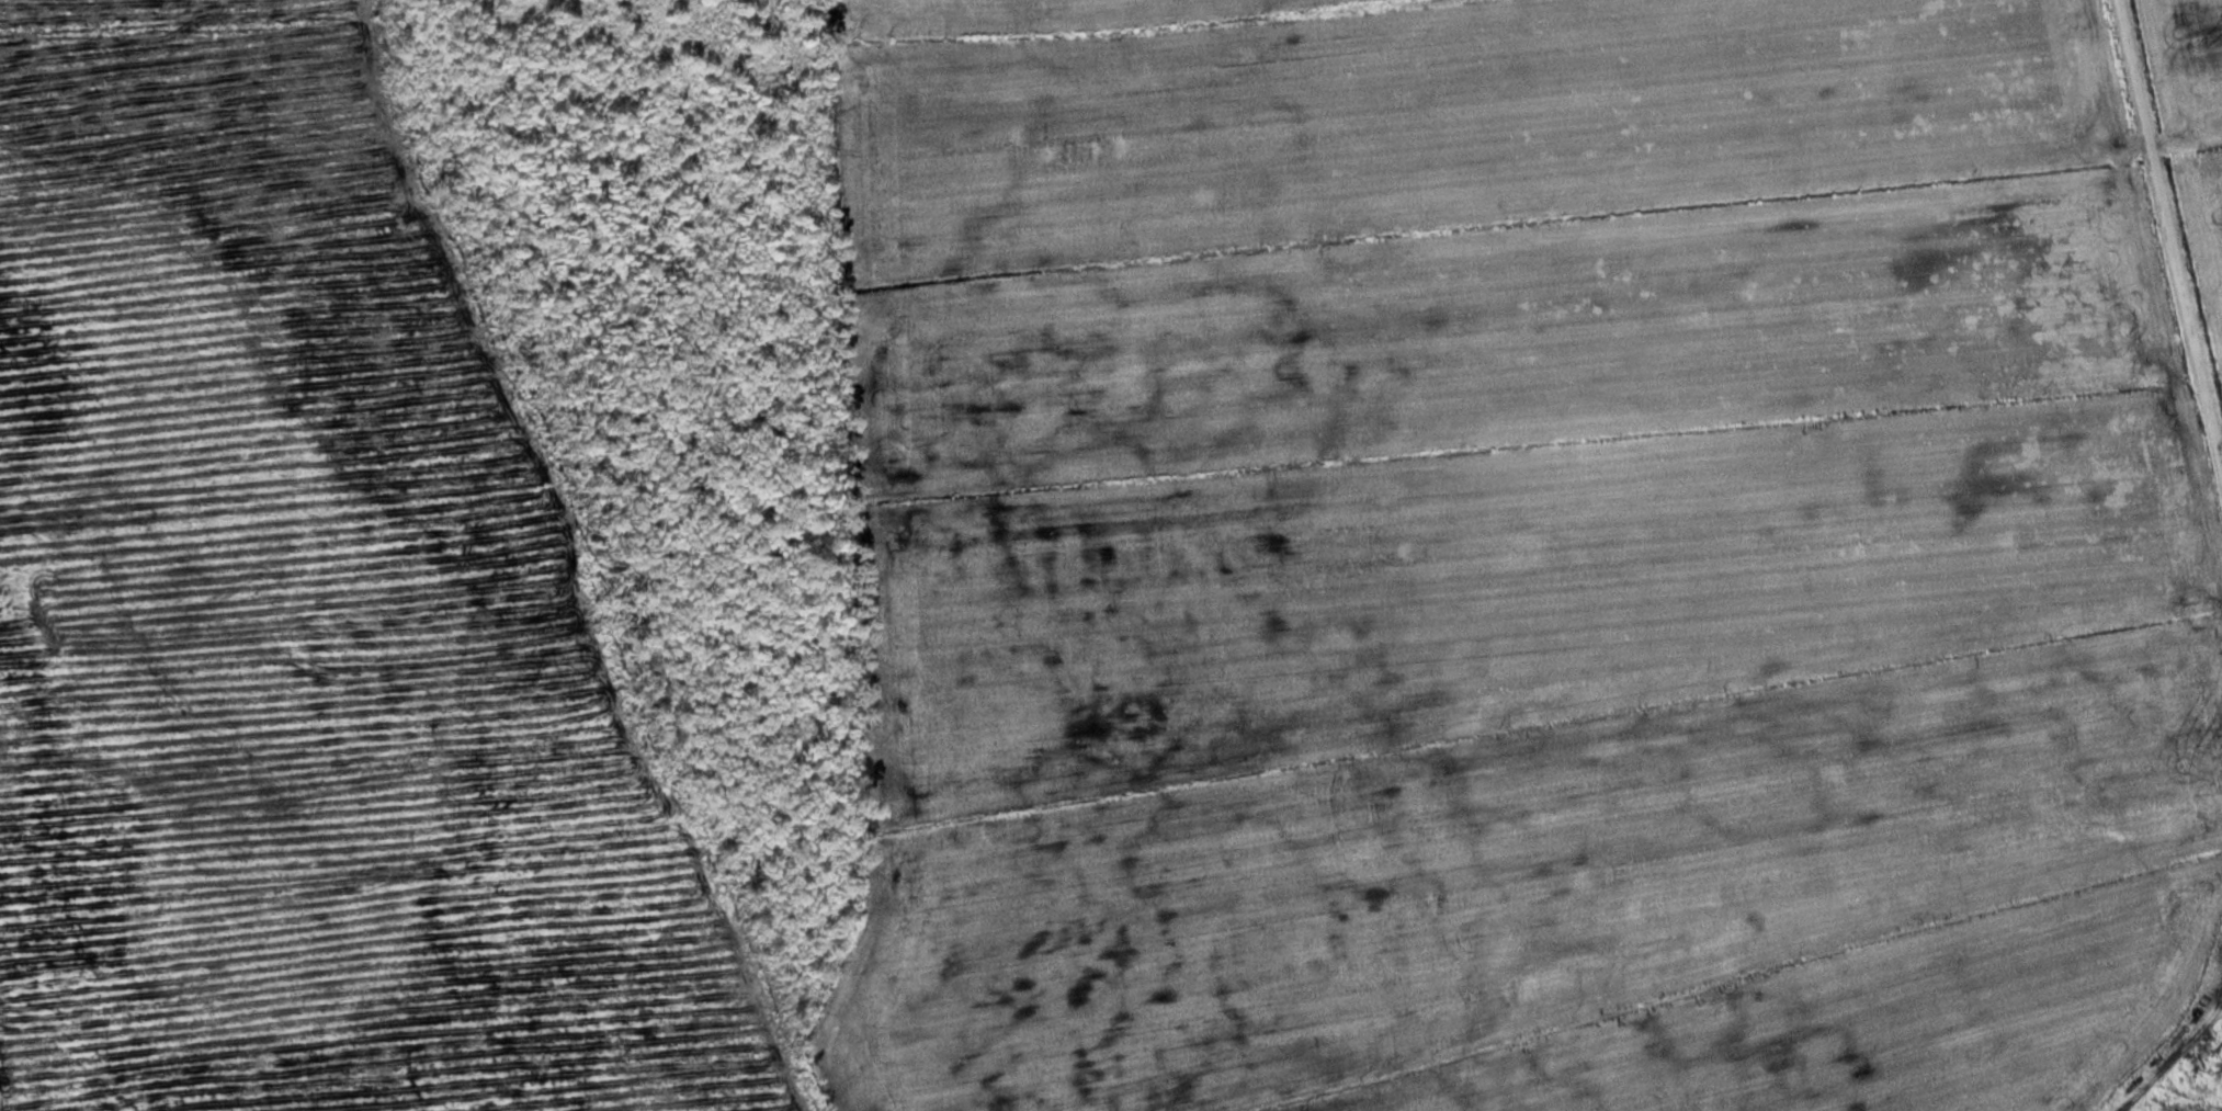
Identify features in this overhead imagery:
road: (2169, 238)

